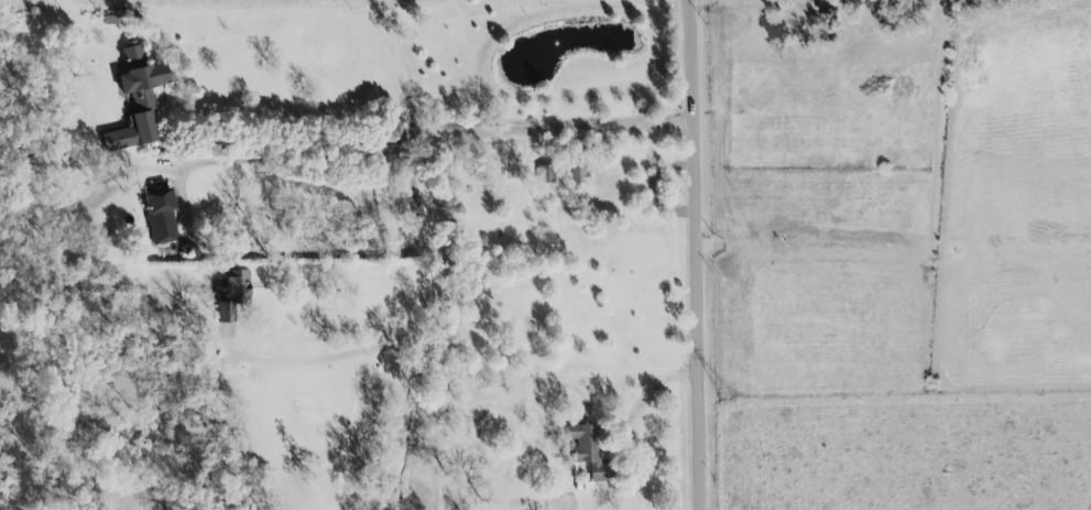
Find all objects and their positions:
building: (135, 98)
road: (554, 127)
road: (290, 141)
building: (579, 174)
building: (547, 175)
building: (159, 213)
road: (186, 213)
road: (701, 254)
building: (232, 293)
road: (418, 334)
road: (646, 393)
power tower: (725, 397)
building: (591, 452)

